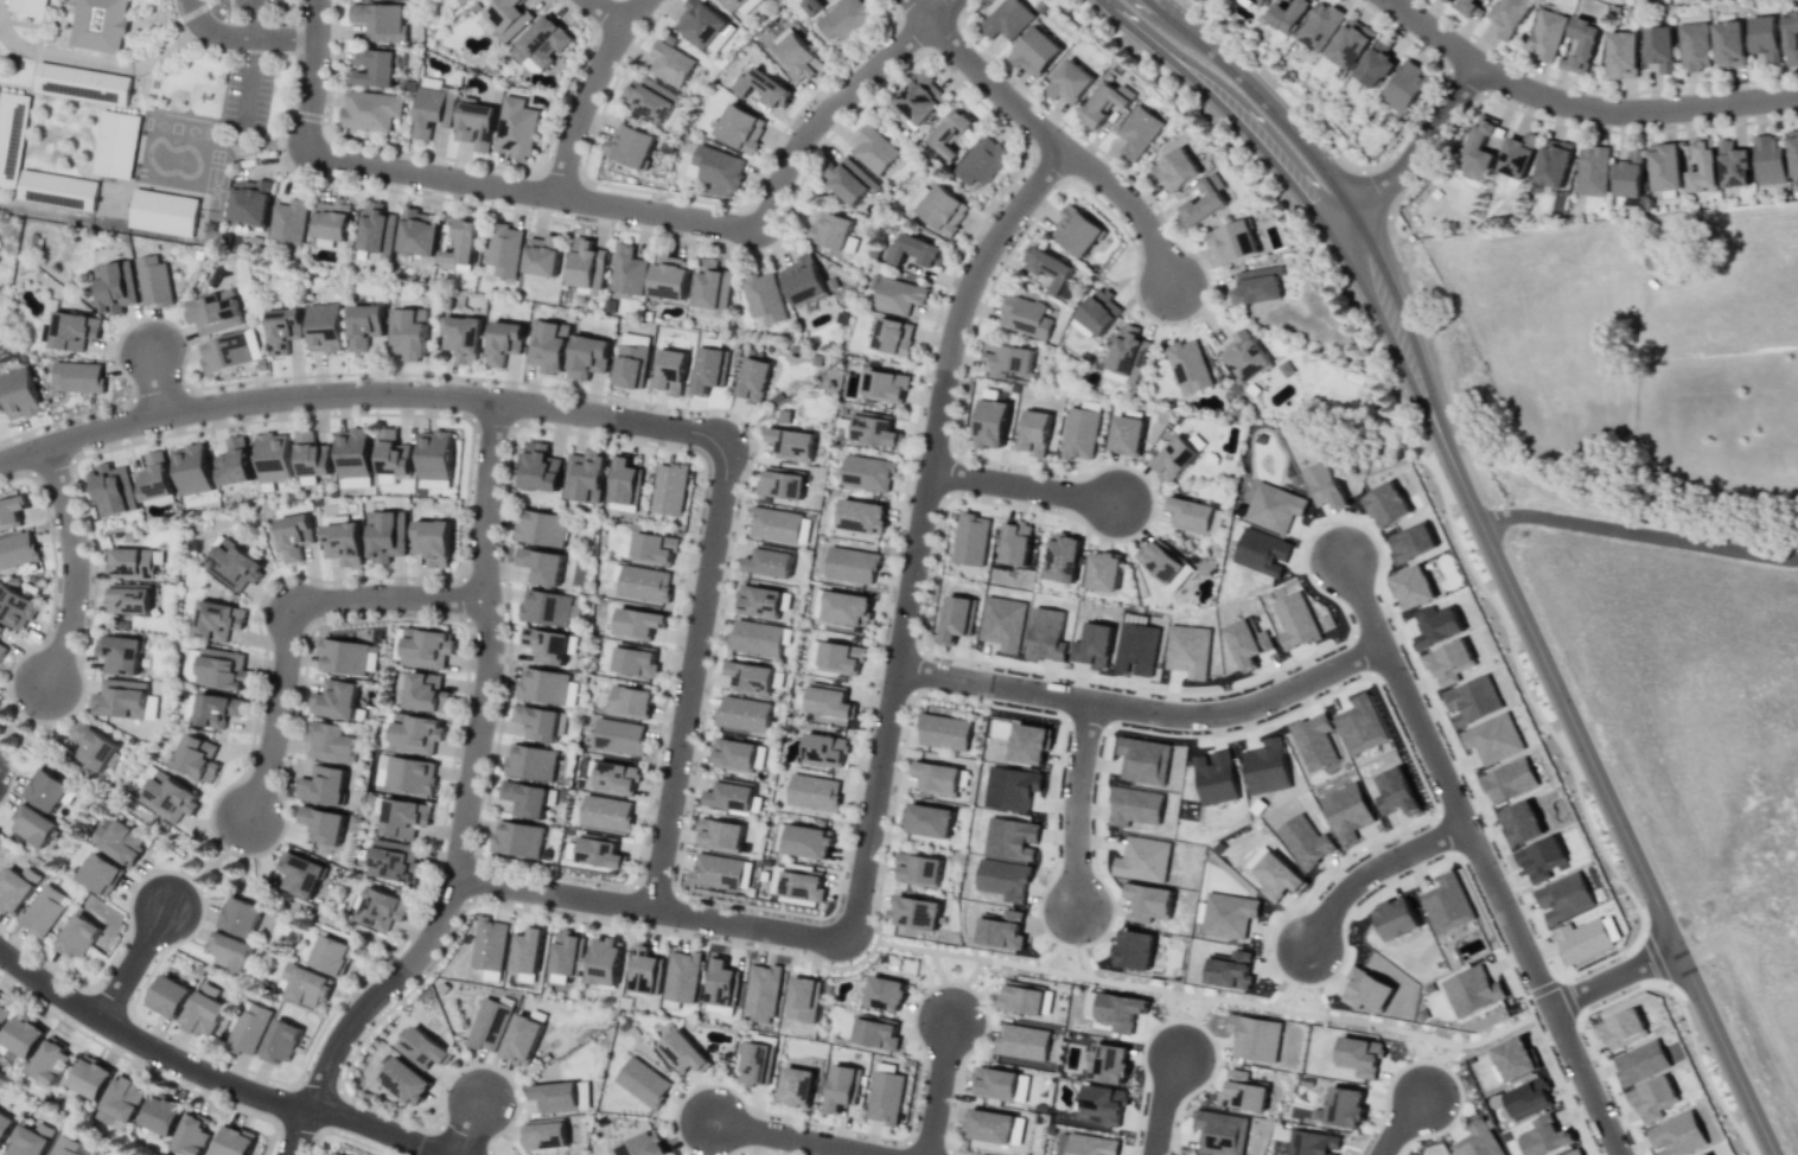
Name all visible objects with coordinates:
street lamp: (332, 0)
street lamp: (1359, 0)
building: (1447, 0)
building: (452, 2)
building: (1262, 2)
parking lot: (253, 4)
building: (812, 5)
building: (28, 6)
building: (740, 6)
building: (1469, 8)
road: (605, 12)
street lamp: (655, 12)
building: (1287, 15)
building: (1510, 17)
road: (255, 18)
building: (504, 19)
building: (1006, 19)
building: (378, 20)
building: (843, 20)
building: (100, 24)
building: (702, 25)
building: (1319, 25)
road: (241, 33)
building: (1544, 34)
building: (1765, 38)
building: (1790, 38)
building: (1350, 43)
building: (540, 44)
building: (1728, 44)
building: (1580, 45)
building: (1694, 46)
building: (1659, 47)
building: (1035, 51)
street lamp: (1142, 55)
building: (1621, 55)
building: (796, 57)
street lamp: (1505, 59)
building: (670, 63)
building: (1376, 63)
road: (311, 76)
road: (982, 78)
building: (1067, 82)
building: (82, 83)
street lamp: (964, 83)
building: (1404, 85)
road: (248, 87)
building: (765, 87)
road: (585, 91)
parking lot: (246, 98)
building: (653, 100)
street lamp: (810, 100)
building: (918, 101)
road: (1264, 101)
building: (1104, 102)
road: (1235, 104)
road: (1579, 106)
building: (370, 110)
building: (431, 110)
building: (476, 123)
street lamp: (1061, 123)
building: (516, 127)
building: (740, 127)
street lamp: (1613, 129)
building: (1137, 132)
building: (950, 133)
building: (11, 134)
building: (116, 143)
building: (629, 145)
building: (1479, 148)
street lamp: (280, 149)
building: (874, 149)
road: (1420, 149)
building: (1793, 153)
building: (1517, 155)
building: (1768, 159)
building: (980, 160)
building: (1554, 162)
building: (1733, 165)
building: (1664, 166)
building: (1702, 166)
building: (718, 167)
building: (1175, 170)
building: (1592, 170)
building: (1628, 174)
building: (850, 181)
building: (57, 190)
street lamp: (664, 196)
building: (250, 202)
road: (1129, 205)
street lamp: (1154, 206)
building: (942, 209)
street lamp: (529, 210)
building: (164, 212)
road: (678, 218)
street lamp: (1029, 218)
building: (288, 221)
building: (332, 221)
building: (374, 229)
building: (831, 230)
building: (1076, 230)
building: (417, 232)
building: (1232, 241)
building: (459, 247)
building: (502, 250)
building: (917, 250)
building: (541, 255)
building: (586, 266)
building: (1051, 269)
building: (626, 270)
building: (669, 276)
building: (801, 280)
building: (154, 281)
building: (712, 285)
building: (1256, 286)
building: (116, 287)
building: (761, 299)
building: (1097, 311)
building: (213, 312)
building: (1024, 317)
street lamp: (1160, 324)
building: (363, 325)
building: (325, 326)
street lamp: (935, 326)
building: (282, 328)
building: (72, 330)
building: (406, 333)
building: (893, 336)
building: (463, 337)
building: (503, 340)
building: (547, 345)
building: (229, 351)
building: (1126, 355)
building: (587, 356)
building: (1243, 357)
building: (630, 360)
building: (1187, 366)
building: (1284, 368)
building: (709, 369)
building: (669, 371)
building: (78, 376)
street lamp: (270, 379)
building: (753, 379)
road: (155, 382)
building: (885, 385)
building: (19, 393)
building: (0, 409)
street lamp: (374, 410)
road: (592, 414)
building: (990, 423)
street lamp: (569, 428)
building: (873, 428)
street lamp: (166, 432)
building: (1032, 432)
building: (1079, 433)
building: (1126, 434)
building: (790, 444)
building: (352, 453)
building: (391, 453)
building: (434, 454)
building: (311, 455)
street lamp: (751, 455)
street lamp: (913, 457)
building: (273, 458)
building: (1173, 459)
building: (232, 462)
street lamp: (1099, 464)
building: (540, 467)
building: (191, 470)
building: (866, 473)
building: (584, 477)
building: (153, 478)
building: (780, 483)
building: (624, 485)
road: (1020, 486)
building: (113, 487)
building: (669, 489)
street lamp: (1000, 499)
building: (11, 511)
street lamp: (1455, 511)
building: (1191, 515)
building: (861, 516)
street lamp: (1324, 523)
building: (773, 524)
building: (540, 528)
road: (1638, 534)
building: (293, 536)
building: (387, 536)
building: (970, 538)
building: (432, 541)
street lamp: (1124, 541)
building: (1014, 543)
building: (653, 547)
building: (17, 549)
building: (1061, 559)
building: (769, 561)
building: (130, 563)
building: (1163, 563)
building: (232, 564)
building: (850, 564)
road: (74, 566)
building: (540, 566)
street lamp: (689, 570)
building: (1103, 570)
street lamp: (929, 572)
road: (912, 575)
building: (644, 582)
building: (127, 599)
building: (758, 601)
building: (14, 607)
building: (544, 607)
building: (846, 608)
building: (957, 618)
building: (217, 620)
road: (286, 621)
street lamp: (1389, 621)
building: (637, 623)
building: (0, 626)
street lamp: (1512, 634)
building: (546, 645)
building: (425, 647)
building: (2, 650)
building: (120, 655)
building: (342, 656)
building: (839, 657)
building: (635, 659)
building: (222, 668)
building: (753, 677)
street lamp: (874, 683)
building: (546, 687)
street lamp: (1108, 687)
street lamp: (706, 688)
road: (1557, 690)
building: (425, 693)
building: (120, 698)
building: (334, 700)
building: (828, 700)
building: (629, 701)
building: (149, 707)
road: (1145, 707)
building: (216, 709)
crop: (1689, 711)
building: (741, 715)
building: (536, 722)
street lamp: (40, 723)
building: (943, 732)
street lamp: (1187, 732)
building: (414, 733)
building: (618, 736)
building: (332, 742)
street lamp: (1405, 744)
building: (93, 746)
building: (823, 749)
building: (737, 754)
street lamp: (1568, 755)
building: (196, 758)
building: (530, 761)
building: (409, 774)
road: (467, 777)
building: (614, 777)
building: (937, 778)
street lamp: (1094, 781)
building: (323, 785)
building: (46, 790)
street lamp: (892, 791)
building: (812, 792)
building: (729, 795)
building: (167, 797)
building: (527, 798)
road: (1079, 804)
building: (606, 812)
building: (403, 817)
street lamp: (1480, 818)
building: (927, 821)
building: (321, 824)
building: (33, 825)
building: (719, 835)
park: (185, 838)
building: (517, 838)
building: (122, 841)
building: (806, 841)
street lamp: (1391, 842)
road: (189, 847)
building: (599, 850)
road: (1477, 855)
building: (391, 860)
building: (917, 869)
road: (1371, 869)
building: (716, 870)
building: (100, 874)
building: (299, 875)
street lamp: (1625, 878)
building: (15, 888)
road: (601, 900)
building: (381, 908)
street lamp: (752, 908)
building: (43, 911)
building: (914, 912)
street lamp: (126, 913)
building: (240, 915)
street lamp: (1347, 930)
street lamp: (671, 931)
street lamp: (875, 931)
building: (77, 937)
road: (1058, 939)
building: (1582, 940)
building: (489, 944)
building: (527, 950)
building: (230, 952)
building: (566, 953)
building: (330, 955)
street lamp: (1619, 955)
building: (605, 961)
road: (130, 962)
road: (1084, 962)
building: (645, 970)
road: (974, 970)
building: (681, 976)
road: (1612, 977)
road: (1290, 978)
road: (942, 983)
street lamp: (974, 988)
building: (1471, 990)
building: (884, 994)
building: (168, 996)
park: (1213, 996)
road: (1206, 997)
building: (802, 998)
building: (1025, 1000)
road: (1316, 1001)
street lamp: (1684, 1004)
street lamp: (1529, 1007)
building: (205, 1009)
road: (1201, 1009)
street lamp: (382, 1010)
building: (1120, 1010)
building: (4, 1012)
street lamp: (1186, 1016)
road: (1172, 1022)
building: (487, 1025)
building: (1621, 1029)
building: (875, 1032)
street lamp: (91, 1035)
building: (23, 1036)
park: (557, 1038)
building: (1254, 1038)
building: (521, 1039)
building: (280, 1041)
building: (1021, 1041)
building: (422, 1047)
building: (681, 1052)
road: (1449, 1054)
building: (1359, 1055)
street lamp: (212, 1058)
building: (1513, 1058)
building: (50, 1060)
building: (755, 1063)
building: (1108, 1063)
street lamp: (1594, 1063)
building: (1639, 1063)
road: (1418, 1064)
street lamp: (1448, 1065)
street lamp: (304, 1073)
building: (91, 1077)
road: (208, 1080)
building: (406, 1080)
building: (643, 1081)
building: (997, 1084)
building: (796, 1086)
building: (841, 1087)
road: (937, 1087)
building: (1243, 1092)
building: (1653, 1093)
building: (561, 1097)
building: (1526, 1098)
building: (121, 1102)
building: (1103, 1103)
road: (1162, 1105)
building: (1340, 1108)
building: (161, 1115)
street lamp: (1738, 1117)
road: (1399, 1124)
building: (5, 1125)
building: (994, 1125)
road: (465, 1130)
road: (298, 1131)
building: (191, 1134)
building: (544, 1135)
street lamp: (1137, 1135)
street lamp: (1370, 1135)
building: (1676, 1135)
building: (31, 1140)
road: (786, 1140)
building: (1478, 1140)
building: (1545, 1140)
building: (234, 1141)
building: (1313, 1143)
building: (1086, 1144)
building: (643, 1146)
building: (68, 1147)

